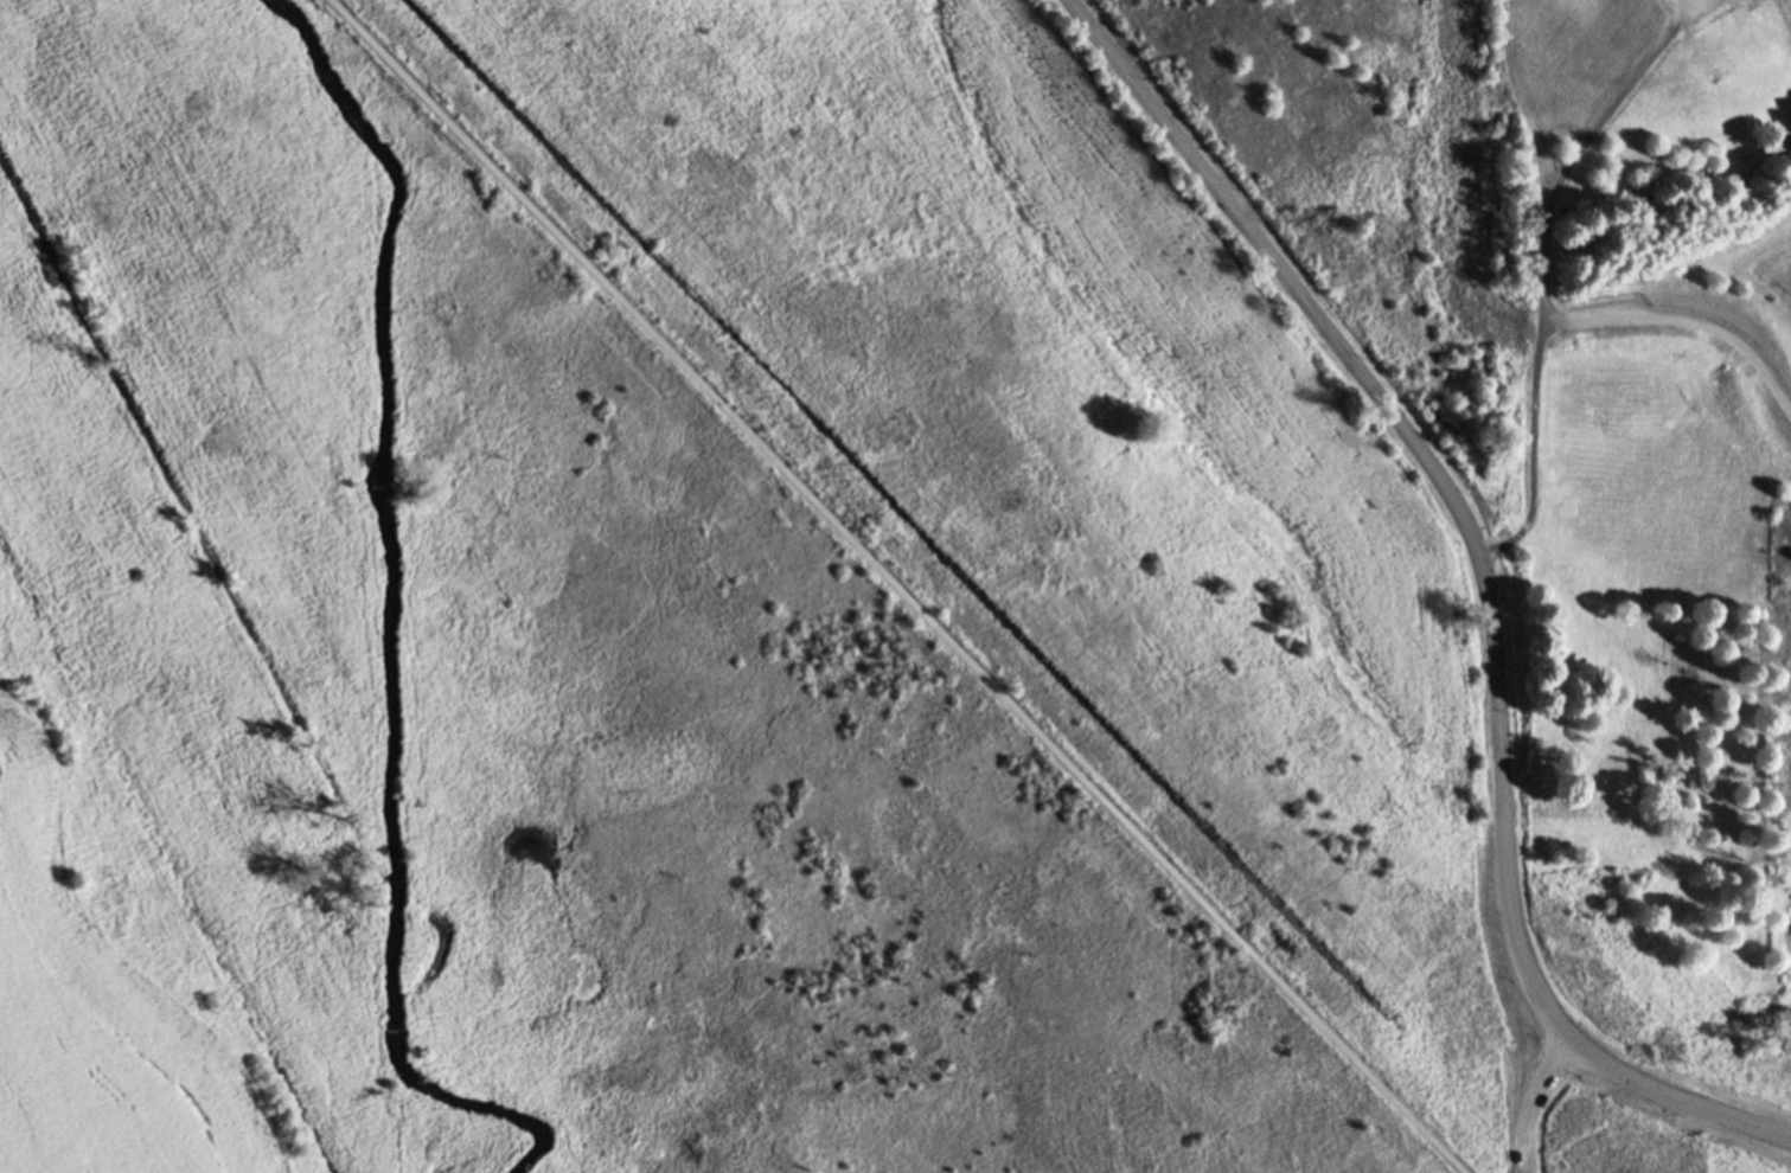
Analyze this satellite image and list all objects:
road: (1539, 269)
road: (1683, 318)
road: (1431, 474)
road: (895, 586)
building: (1637, 697)
building: (1644, 712)
building: (1607, 791)
building: (1650, 846)
crop: (110, 969)
road: (1531, 1095)
road: (1676, 1098)
parking lot: (1528, 1113)
park: (1600, 1123)
road: (1522, 1166)

